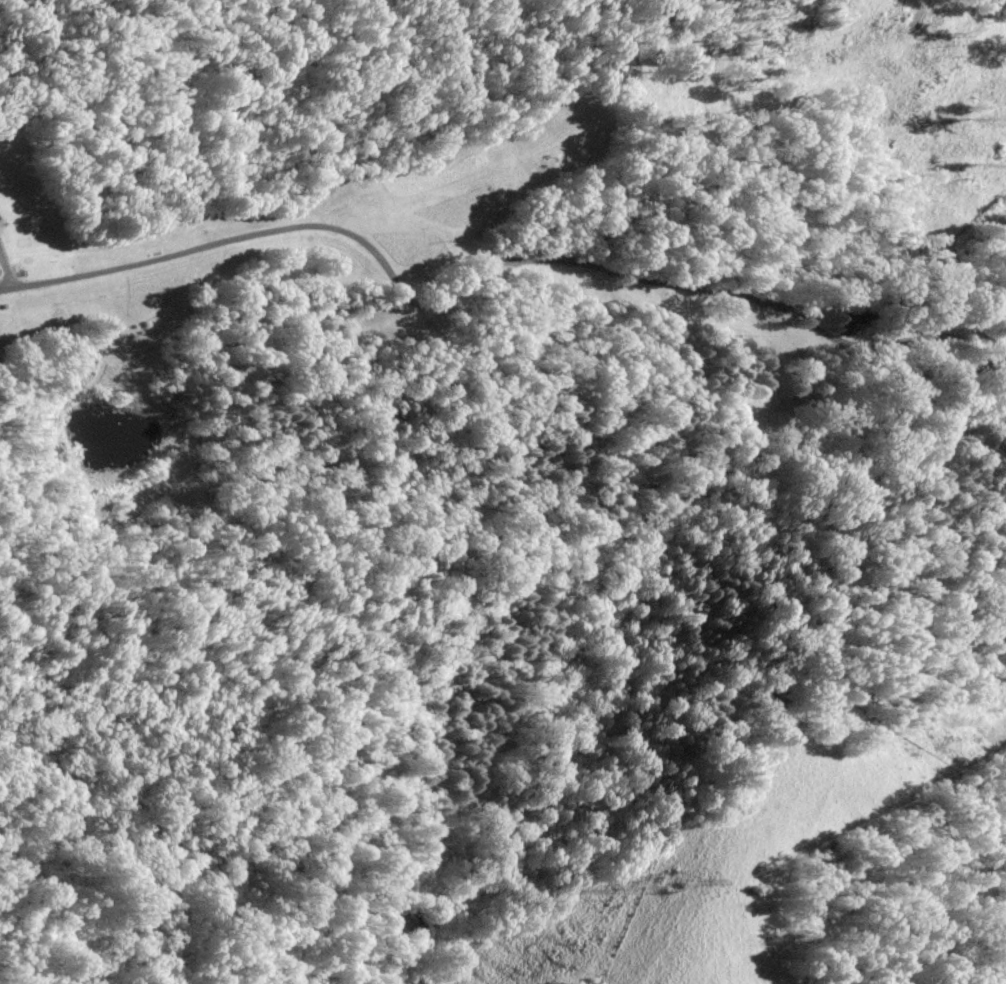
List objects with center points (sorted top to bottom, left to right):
road: (491, 266)
power tower: (670, 880)

